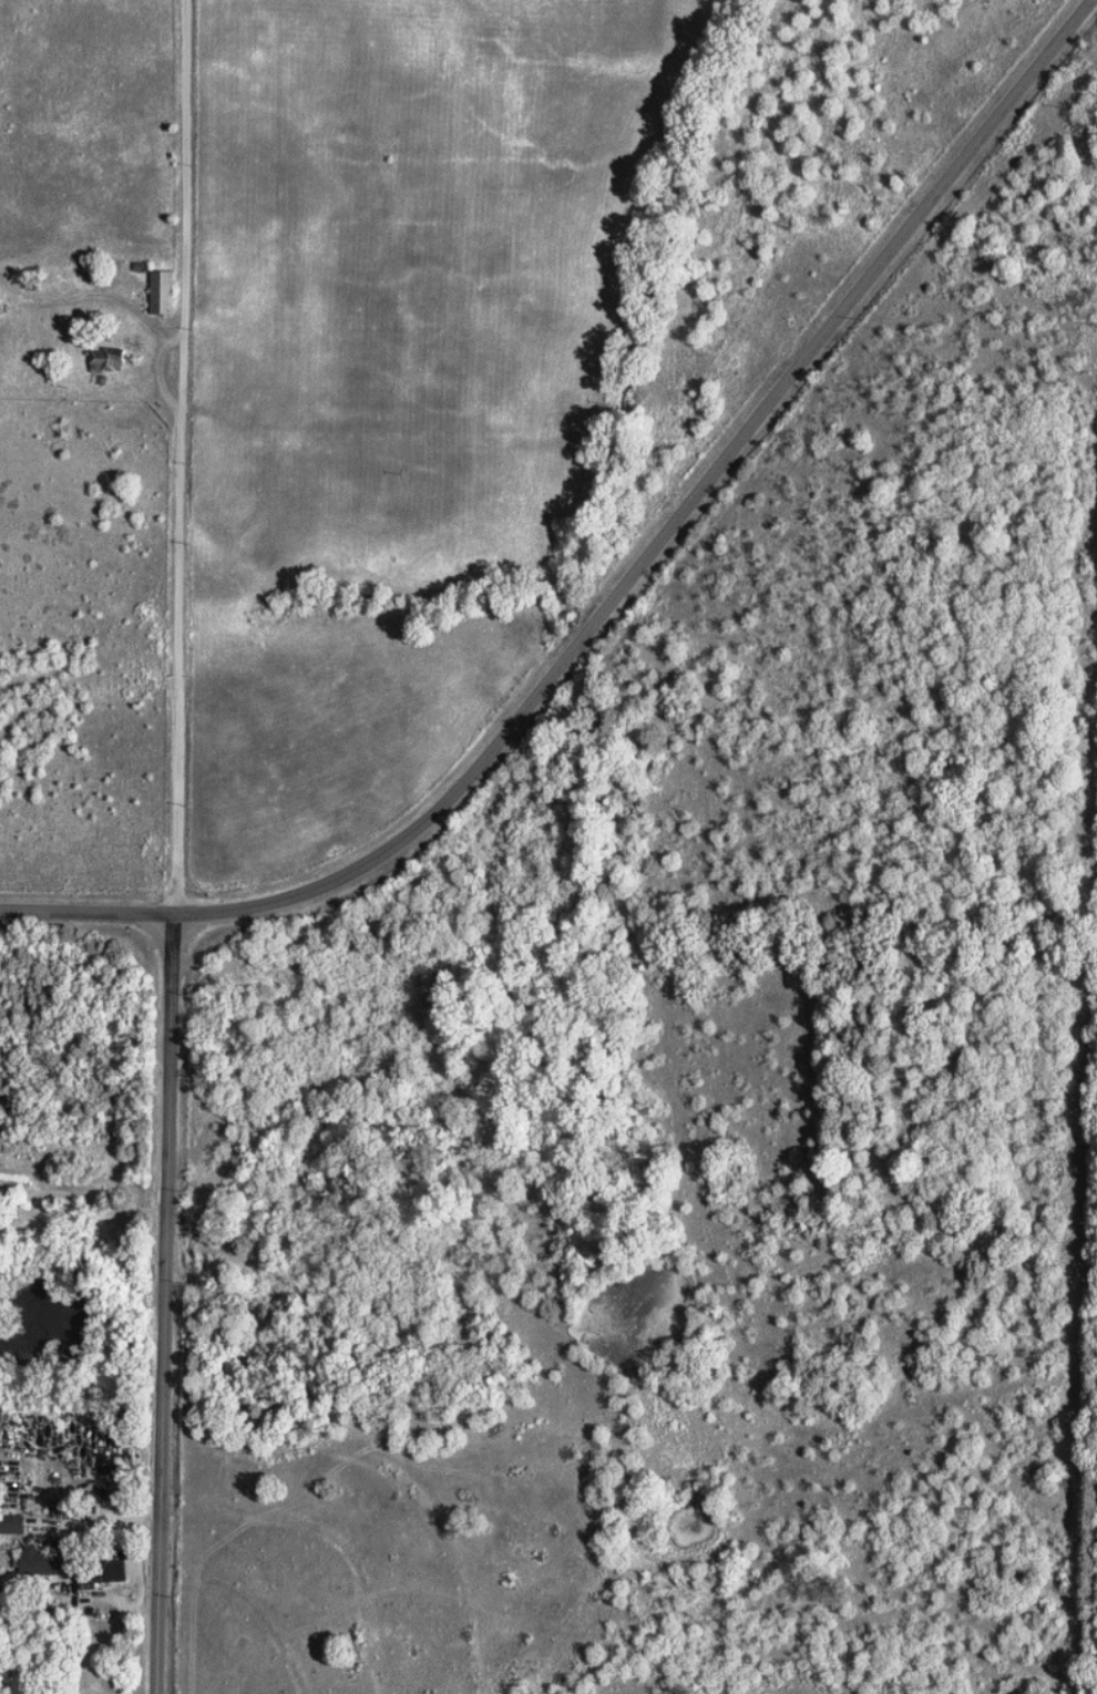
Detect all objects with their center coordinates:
building: (166, 291)
building: (112, 359)
road: (178, 456)
road: (625, 593)
road: (84, 1203)
road: (168, 1304)
road: (93, 1521)
building: (14, 1523)
building: (43, 1561)
building: (109, 1575)

